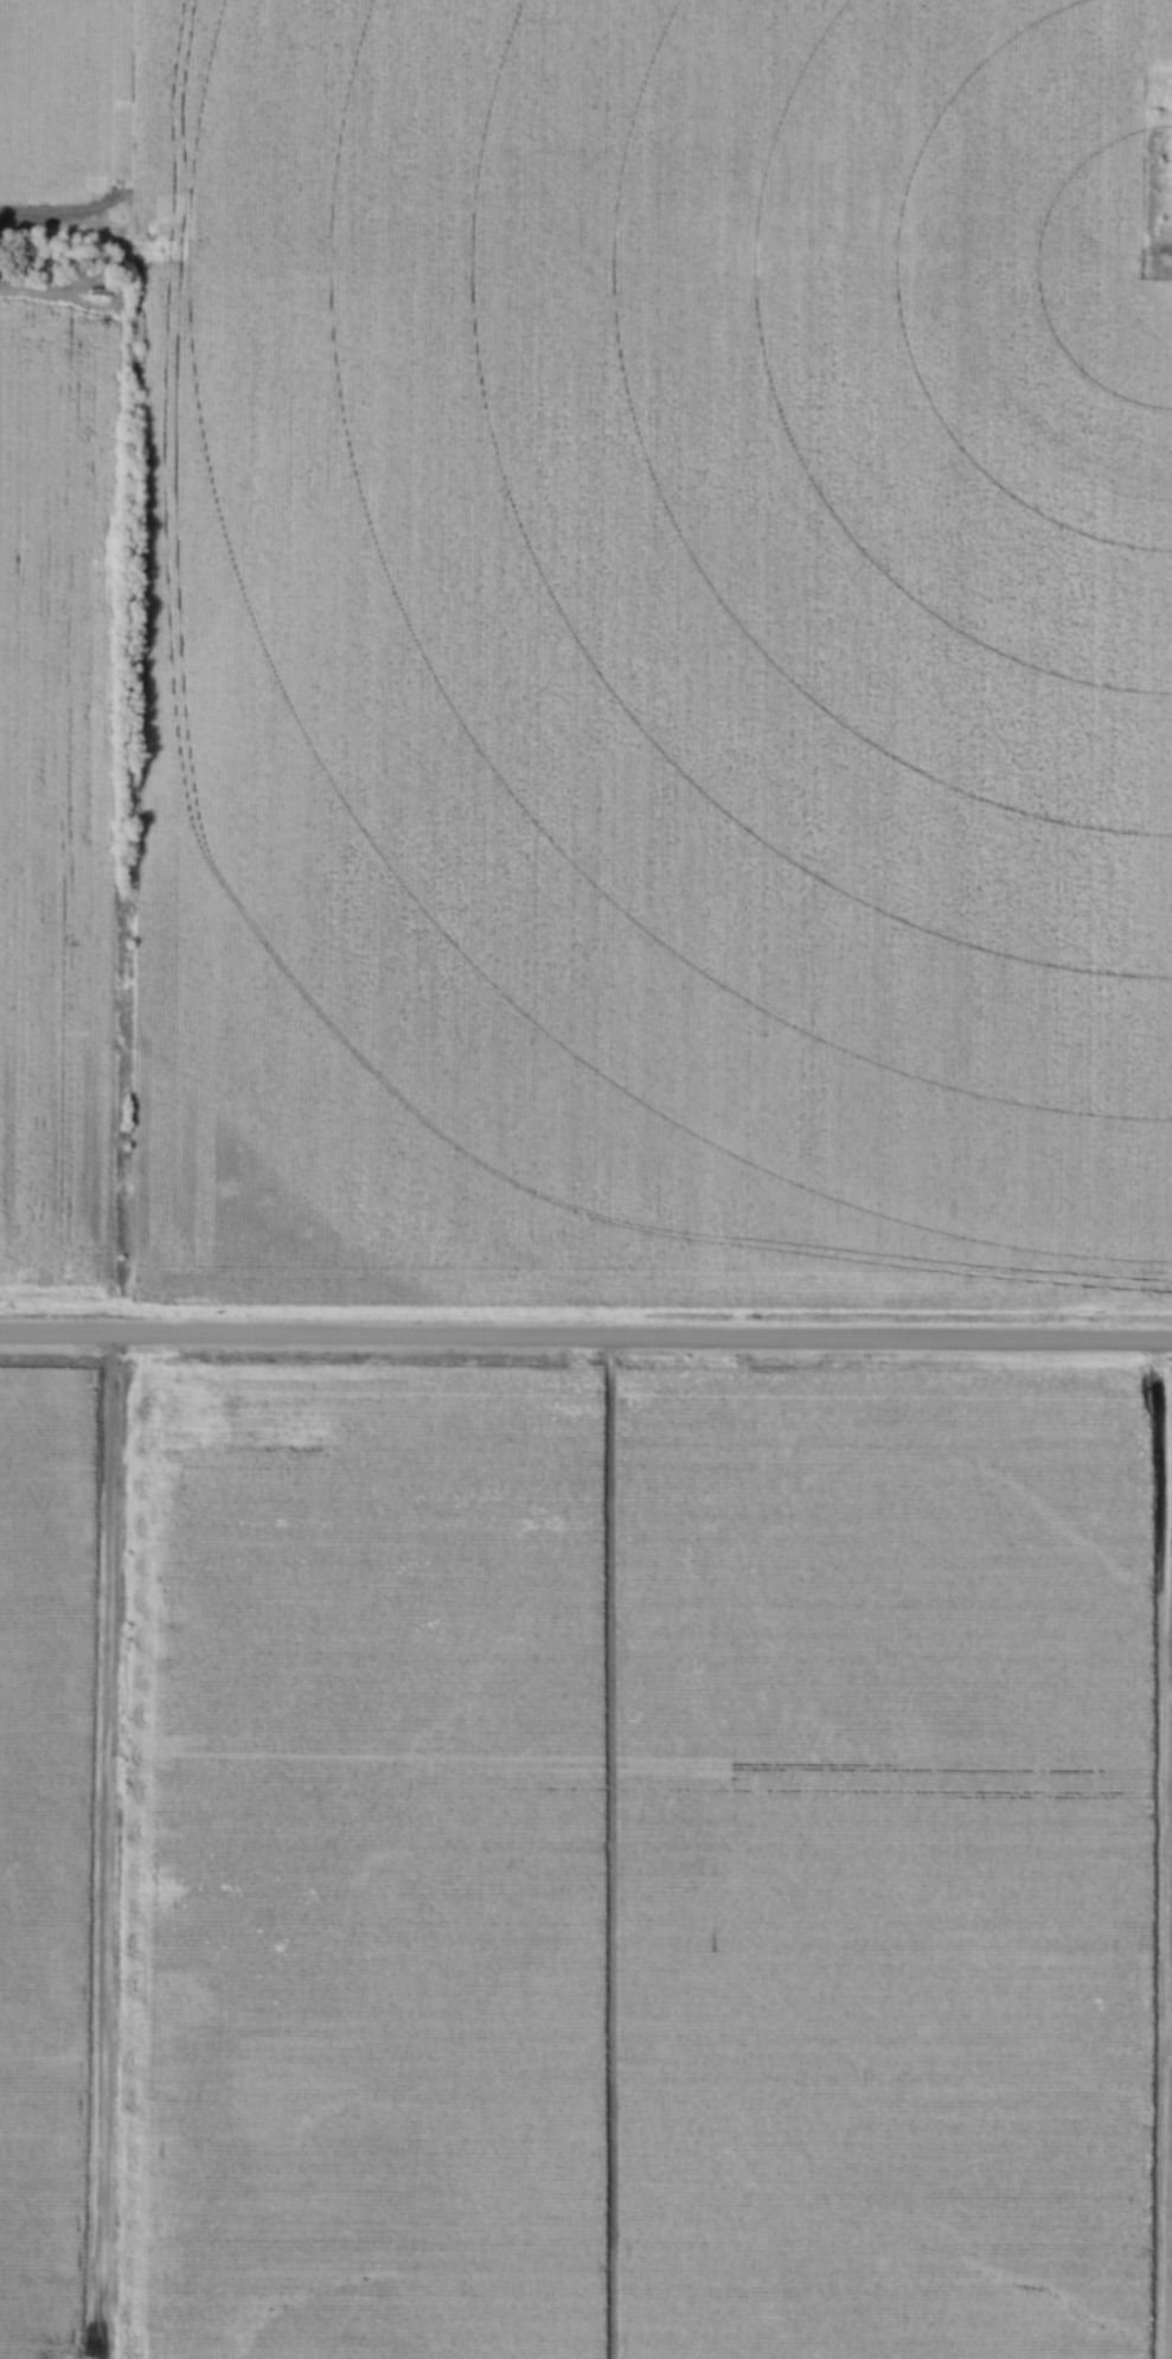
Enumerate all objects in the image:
road: (585, 1342)

